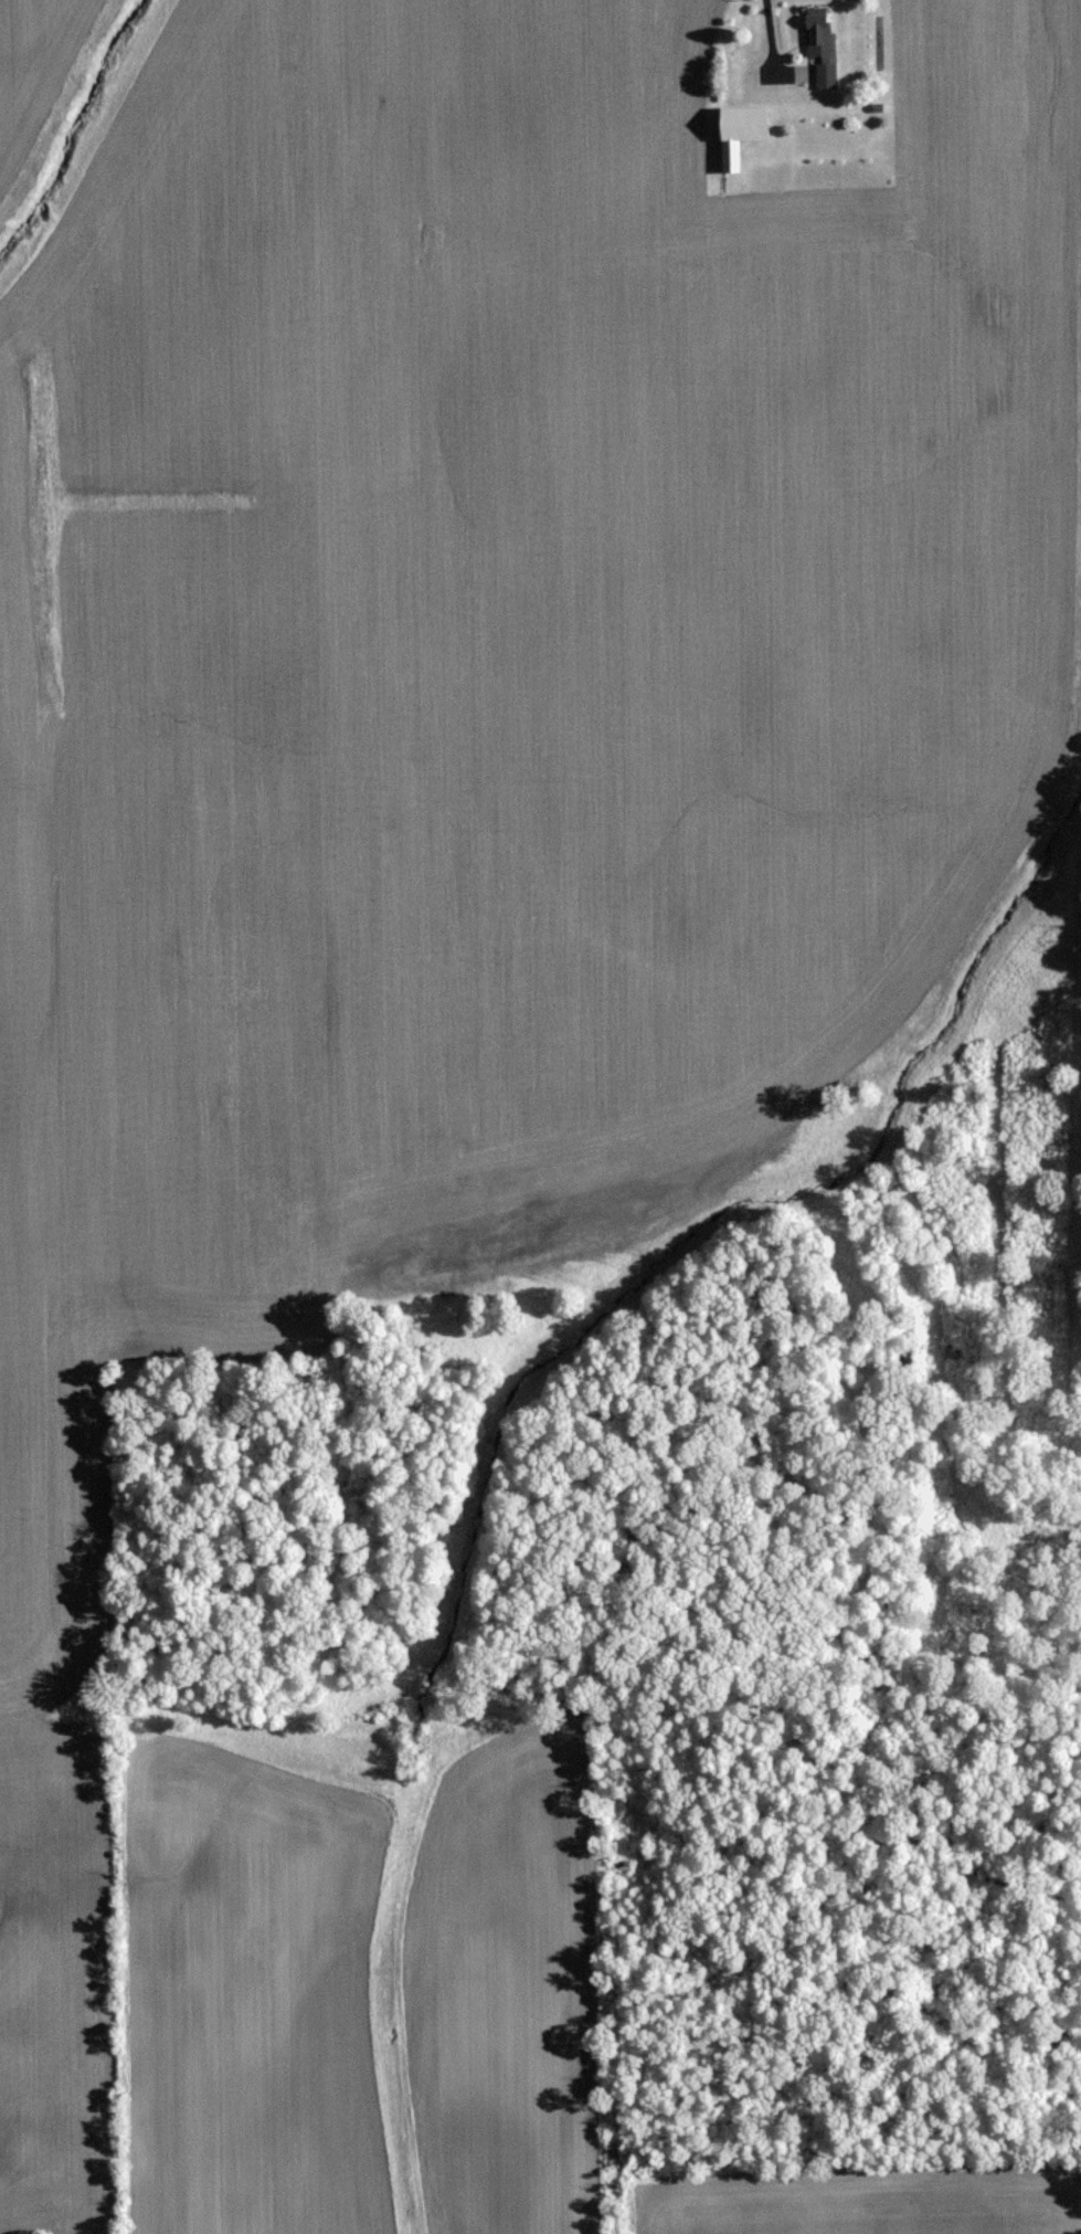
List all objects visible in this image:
road: (766, 36)
building: (816, 46)
building: (732, 134)

